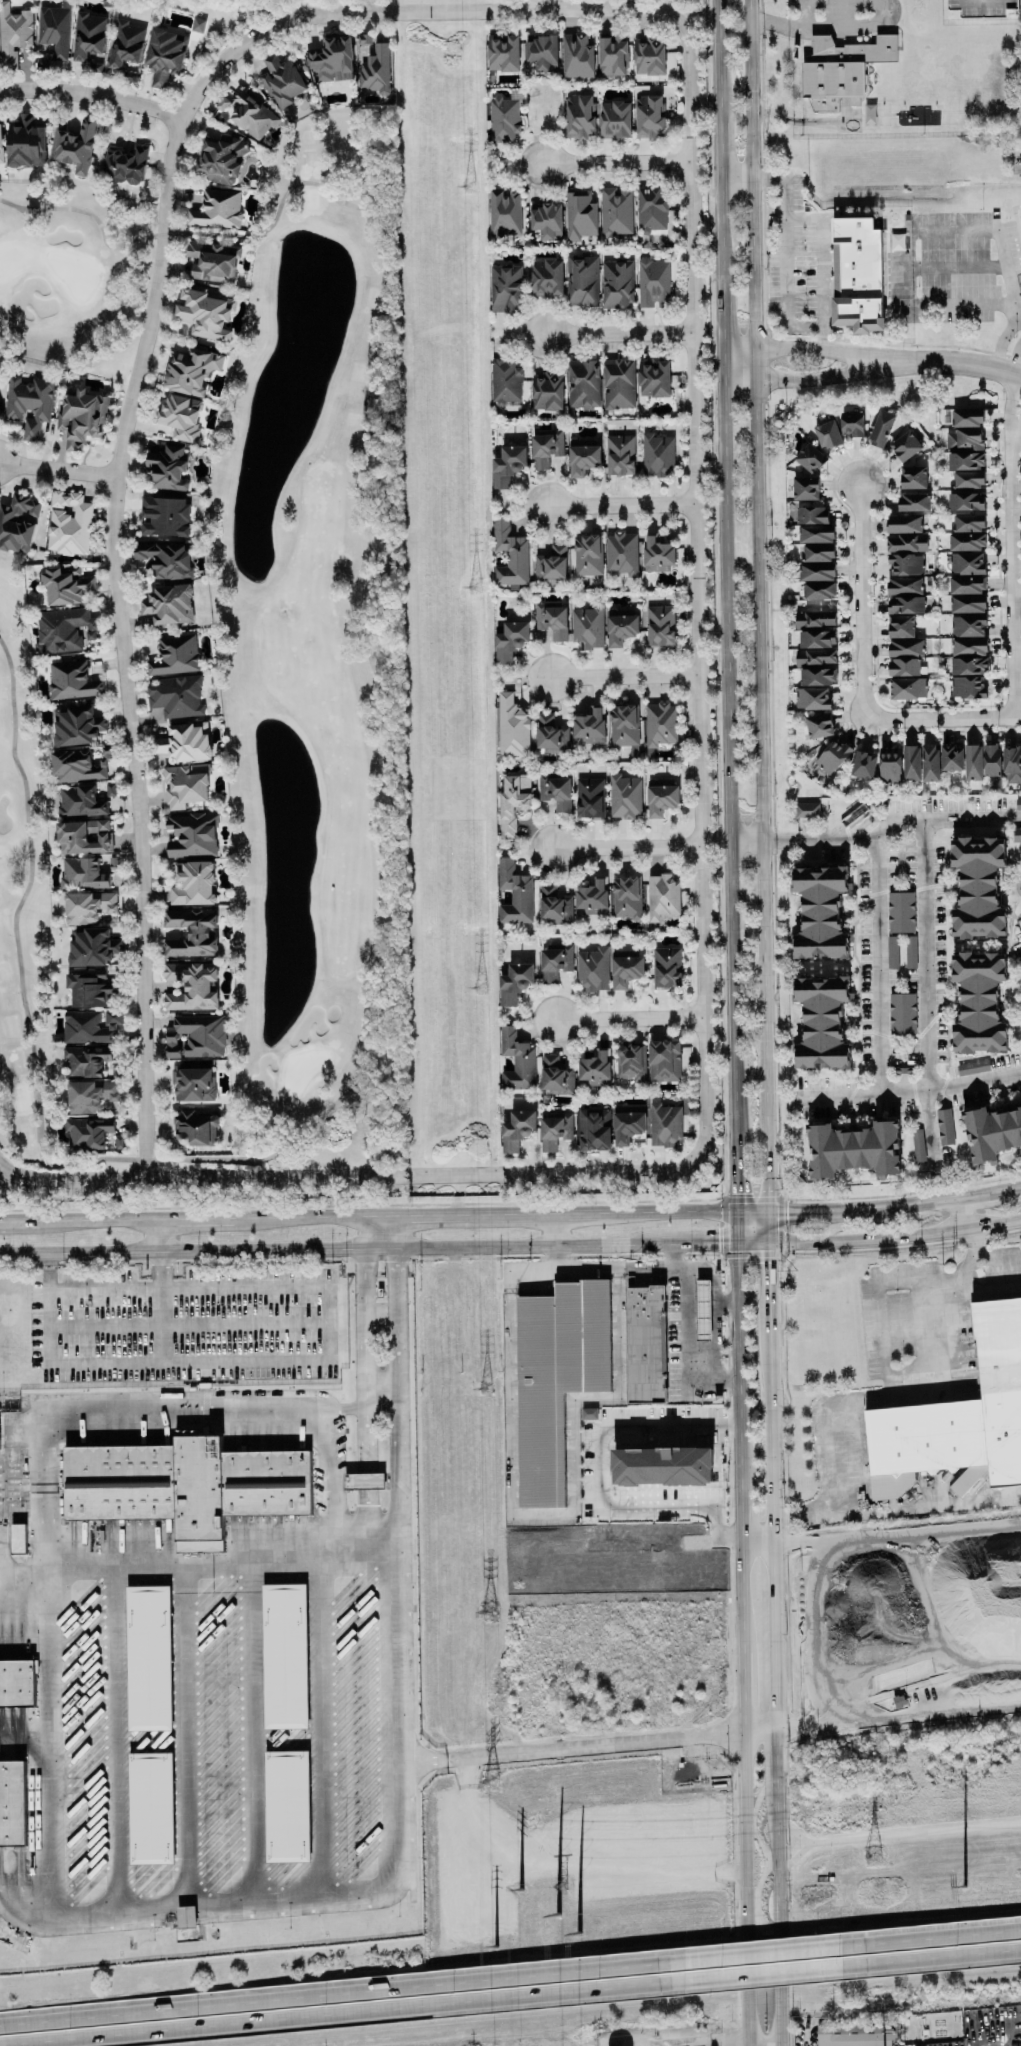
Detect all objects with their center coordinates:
building: (977, 8)
road: (408, 12)
parking lot: (844, 17)
building: (197, 25)
road: (807, 25)
building: (54, 30)
building: (13, 34)
building: (90, 40)
building: (126, 43)
building: (503, 53)
building: (542, 53)
building: (165, 55)
building: (612, 55)
building: (649, 55)
building: (576, 56)
building: (353, 62)
building: (843, 69)
building: (281, 80)
road: (91, 94)
building: (248, 114)
building: (649, 116)
building: (580, 117)
building: (504, 120)
building: (615, 120)
building: (26, 143)
building: (1, 146)
building: (77, 147)
building: (221, 160)
road: (614, 164)
building: (125, 165)
power tower: (467, 188)
building: (217, 209)
building: (650, 209)
building: (505, 211)
building: (616, 211)
building: (580, 214)
building: (546, 221)
road: (786, 251)
road: (820, 255)
building: (212, 261)
building: (857, 274)
road: (1005, 275)
building: (547, 278)
building: (584, 281)
building: (617, 283)
building: (653, 283)
building: (505, 288)
building: (204, 313)
road: (613, 336)
road: (1008, 346)
road: (797, 347)
road: (947, 366)
building: (191, 371)
road: (797, 378)
building: (654, 379)
building: (506, 381)
building: (618, 383)
building: (583, 384)
building: (547, 392)
building: (29, 403)
road: (1007, 403)
building: (0, 414)
building: (181, 416)
building: (967, 417)
building: (82, 418)
building: (852, 424)
road: (1014, 426)
building: (881, 428)
building: (828, 435)
building: (964, 439)
building: (905, 446)
building: (546, 448)
building: (657, 454)
building: (620, 455)
building: (584, 457)
building: (810, 458)
building: (966, 461)
building: (508, 465)
building: (167, 469)
road: (54, 470)
building: (913, 477)
building: (965, 479)
building: (805, 488)
building: (966, 501)
building: (913, 502)
road: (616, 505)
building: (812, 515)
building: (165, 516)
building: (968, 522)
building: (18, 523)
building: (69, 523)
building: (904, 524)
building: (816, 534)
building: (966, 541)
building: (906, 543)
building: (621, 553)
building: (818, 553)
building: (588, 554)
building: (658, 554)
building: (510, 555)
building: (164, 560)
building: (966, 563)
building: (551, 564)
building: (905, 564)
building: (816, 571)
road: (1009, 574)
road: (726, 575)
building: (967, 584)
building: (65, 585)
building: (904, 586)
power tower: (474, 589)
building: (819, 590)
road: (697, 591)
road: (859, 597)
building: (968, 603)
building: (169, 604)
road: (756, 605)
building: (905, 605)
building: (815, 619)
building: (552, 621)
building: (660, 625)
building: (968, 625)
building: (621, 626)
building: (900, 626)
building: (587, 627)
building: (63, 630)
building: (817, 639)
building: (510, 641)
road: (117, 642)
building: (969, 646)
building: (905, 648)
park: (254, 650)
building: (175, 656)
building: (815, 657)
building: (969, 665)
building: (903, 667)
building: (818, 676)
road: (617, 678)
building: (72, 680)
building: (968, 687)
building: (907, 688)
building: (176, 697)
building: (812, 698)
road: (944, 719)
building: (660, 724)
building: (624, 725)
building: (818, 725)
building: (78, 726)
building: (590, 726)
building: (512, 727)
building: (551, 735)
building: (184, 742)
building: (833, 756)
building: (951, 758)
building: (992, 760)
building: (973, 762)
building: (911, 763)
building: (930, 763)
building: (863, 764)
building: (1012, 764)
building: (80, 765)
building: (890, 765)
building: (185, 785)
building: (556, 792)
building: (624, 796)
building: (661, 796)
building: (589, 798)
building: (81, 802)
building: (514, 802)
building: (1018, 804)
building: (808, 810)
road: (868, 819)
road: (907, 819)
building: (1016, 834)
building: (192, 835)
building: (84, 836)
road: (763, 838)
road: (618, 846)
building: (83, 873)
building: (193, 883)
building: (978, 887)
building: (515, 893)
building: (662, 896)
building: (626, 897)
building: (593, 898)
building: (554, 905)
building: (88, 906)
building: (821, 912)
building: (901, 912)
building: (191, 933)
building: (93, 948)
building: (910, 951)
building: (892, 952)
road: (927, 954)
building: (556, 962)
building: (667, 967)
building: (593, 969)
building: (626, 969)
building: (515, 983)
building: (191, 985)
building: (90, 988)
power tower: (480, 992)
building: (979, 1002)
building: (902, 1013)
road: (629, 1019)
building: (822, 1022)
building: (91, 1026)
road: (877, 1034)
building: (196, 1036)
building: (86, 1061)
building: (517, 1061)
building: (664, 1061)
building: (631, 1062)
building: (973, 1067)
building: (595, 1068)
building: (556, 1076)
building: (194, 1084)
road: (839, 1091)
building: (90, 1095)
building: (628, 1123)
building: (664, 1124)
building: (944, 1127)
building: (195, 1128)
building: (555, 1129)
road: (929, 1129)
building: (517, 1130)
building: (594, 1130)
building: (992, 1132)
building: (88, 1133)
building: (918, 1145)
building: (853, 1149)
road: (342, 1177)
road: (735, 1181)
road: (992, 1188)
road: (901, 1202)
road: (803, 1209)
road: (675, 1211)
traffic signals: (736, 1211)
road: (752, 1211)
traffic signals: (768, 1211)
road: (966, 1211)
road: (502, 1213)
road: (312, 1216)
road: (195, 1217)
road: (98, 1219)
road: (19, 1221)
road: (994, 1224)
road: (736, 1226)
road: (768, 1227)
road: (552, 1230)
road: (392, 1232)
road: (158, 1234)
road: (868, 1238)
traffic signals: (736, 1242)
road: (752, 1243)
traffic signals: (768, 1244)
road: (564, 1246)
road: (276, 1250)
road: (79, 1252)
road: (982, 1254)
road: (552, 1259)
road: (601, 1270)
road: (712, 1280)
road: (768, 1280)
road: (104, 1288)
road: (161, 1307)
road: (48, 1310)
building: (702, 1310)
road: (186, 1324)
road: (713, 1342)
building: (644, 1344)
road: (685, 1351)
road: (305, 1361)
road: (737, 1365)
building: (556, 1378)
road: (378, 1382)
power tower: (486, 1389)
road: (393, 1404)
building: (589, 1413)
building: (958, 1419)
road: (825, 1431)
building: (663, 1465)
road: (46, 1466)
building: (363, 1480)
road: (600, 1485)
building: (185, 1486)
road: (739, 1519)
road: (771, 1523)
building: (17, 1538)
road: (756, 1550)
road: (359, 1559)
road: (740, 1601)
power tower: (489, 1611)
building: (284, 1656)
building: (147, 1658)
building: (17, 1683)
road: (741, 1690)
road: (391, 1723)
road: (320, 1727)
road: (758, 1729)
road: (253, 1730)
road: (187, 1734)
road: (114, 1737)
road: (566, 1746)
road: (775, 1766)
power tower: (492, 1782)
building: (12, 1803)
building: (287, 1806)
building: (150, 1808)
road: (898, 1809)
power tower: (873, 1858)
power tower: (560, 1885)
power tower: (961, 1886)
road: (744, 1887)
power tower: (521, 1891)
road: (49, 1911)
road: (777, 1924)
power tower: (568, 1927)
road: (931, 1932)
power tower: (494, 1948)
road: (763, 1948)
road: (932, 1961)
road: (764, 1977)
road: (341, 1988)
railway: (665, 2012)
road: (367, 2015)
road: (803, 2033)
building: (856, 2035)
road: (730, 2038)
road: (689, 2042)

